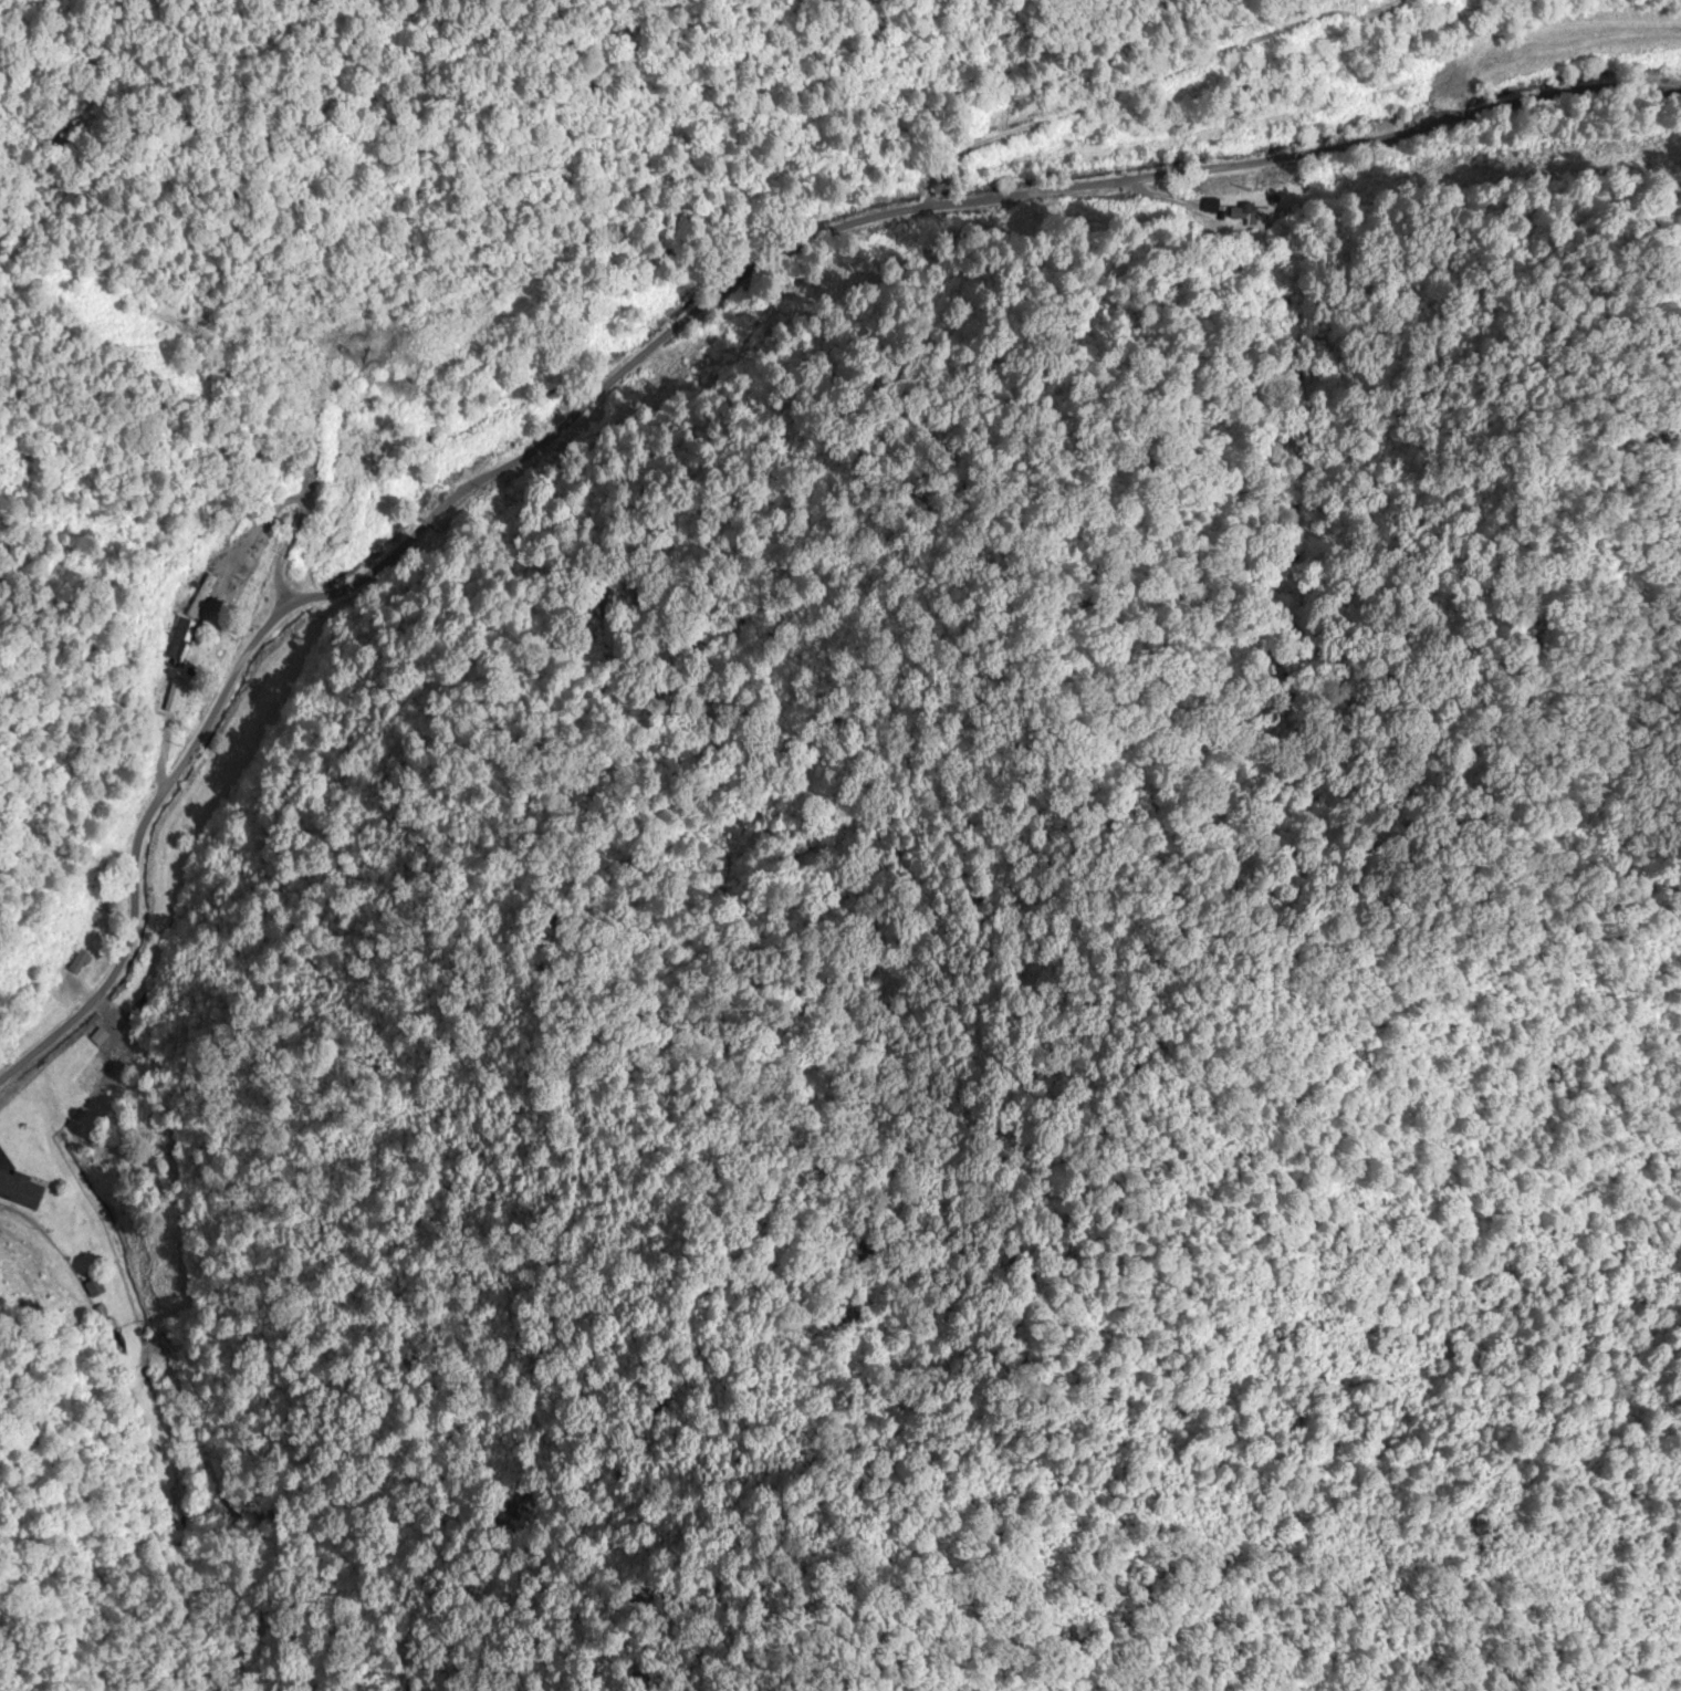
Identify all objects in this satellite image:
road: (1605, 221)
road: (669, 322)
building: (182, 641)
building: (171, 693)
building: (81, 961)
building: (21, 1190)
building: (95, 1288)

